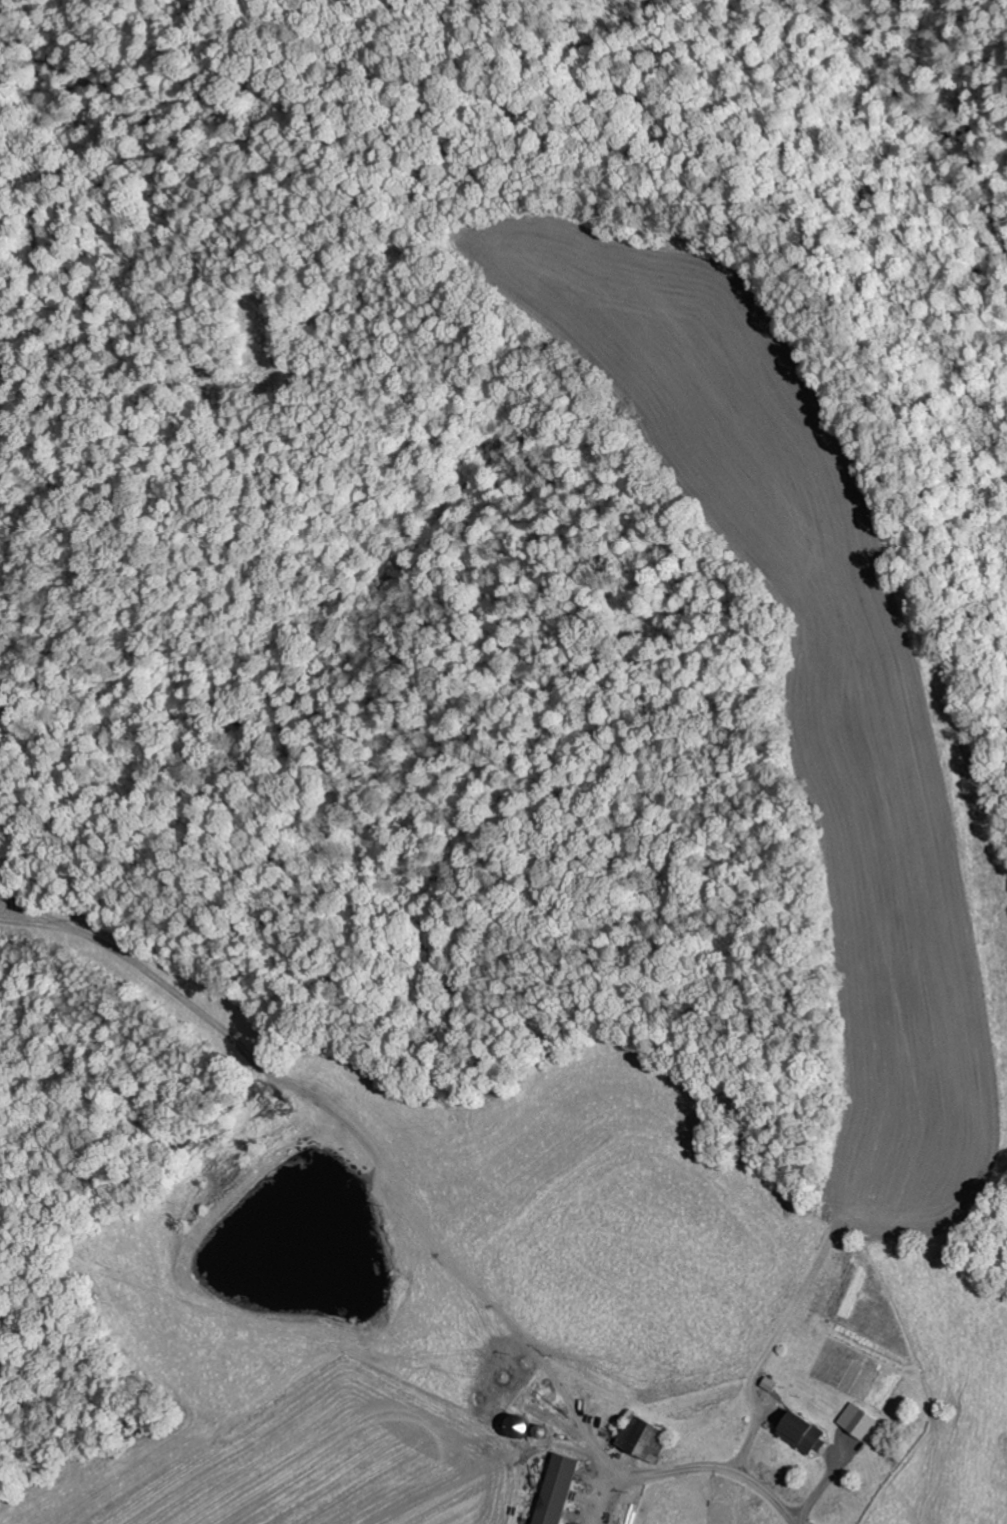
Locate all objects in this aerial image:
building: (852, 1421)
building: (795, 1432)
building: (638, 1439)
building: (553, 1489)

